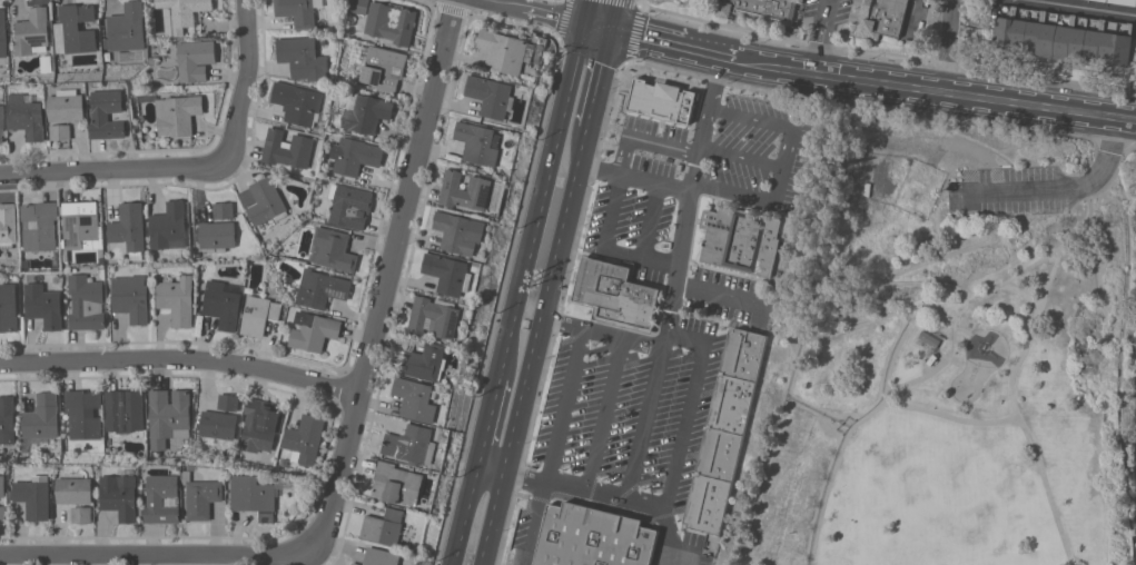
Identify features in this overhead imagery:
building: (1123, 1)
road: (624, 2)
building: (357, 6)
road: (1087, 7)
road: (537, 9)
road: (585, 10)
building: (764, 10)
building: (299, 11)
building: (185, 13)
road: (613, 16)
building: (881, 18)
road: (563, 19)
traffic signals: (583, 21)
building: (391, 23)
road: (596, 26)
building: (128, 27)
building: (78, 28)
traffic signals: (610, 31)
building: (32, 32)
road: (630, 33)
building: (1064, 33)
building: (1, 36)
road: (820, 36)
road: (673, 46)
road: (947, 46)
building: (505, 51)
road: (882, 54)
building: (196, 57)
building: (303, 58)
building: (47, 63)
building: (384, 68)
road: (599, 79)
road: (936, 90)
building: (492, 96)
building: (660, 101)
building: (298, 102)
building: (68, 106)
building: (108, 113)
building: (367, 113)
building: (178, 115)
building: (27, 116)
building: (1, 125)
building: (61, 131)
road: (643, 136)
building: (478, 142)
building: (288, 149)
building: (355, 156)
road: (191, 161)
road: (789, 161)
road: (636, 176)
road: (1056, 185)
building: (466, 190)
parking lot: (1012, 190)
road: (1094, 194)
road: (540, 199)
building: (264, 201)
building: (350, 206)
building: (224, 210)
building: (8, 224)
building: (81, 225)
building: (40, 226)
building: (169, 226)
building: (130, 228)
building: (461, 232)
building: (218, 236)
building: (741, 239)
road: (607, 245)
building: (336, 249)
road: (935, 260)
road: (680, 264)
road: (1055, 266)
building: (450, 274)
building: (322, 288)
road: (384, 288)
road: (719, 294)
road: (546, 295)
building: (616, 295)
building: (131, 297)
building: (177, 299)
building: (43, 301)
building: (87, 301)
building: (224, 304)
building: (9, 307)
building: (259, 315)
building: (435, 316)
building: (312, 329)
building: (929, 337)
road: (954, 344)
road: (895, 355)
park: (946, 355)
road: (180, 361)
building: (425, 361)
road: (919, 377)
building: (416, 399)
building: (229, 402)
road: (566, 404)
building: (125, 410)
road: (604, 413)
building: (83, 414)
building: (169, 416)
building: (42, 417)
road: (487, 417)
road: (951, 417)
building: (7, 419)
road: (646, 422)
building: (219, 425)
building: (261, 425)
building: (725, 430)
building: (305, 439)
building: (409, 443)
road: (837, 472)
road: (1043, 479)
building: (398, 484)
building: (2, 486)
building: (76, 490)
building: (121, 495)
building: (34, 496)
building: (254, 496)
building: (201, 497)
building: (164, 499)
road: (669, 502)
road: (464, 511)
building: (3, 514)
building: (82, 515)
road: (494, 515)
road: (536, 522)
building: (387, 528)
road: (678, 535)
building: (593, 537)
road: (147, 557)
building: (383, 557)
building: (356, 563)

